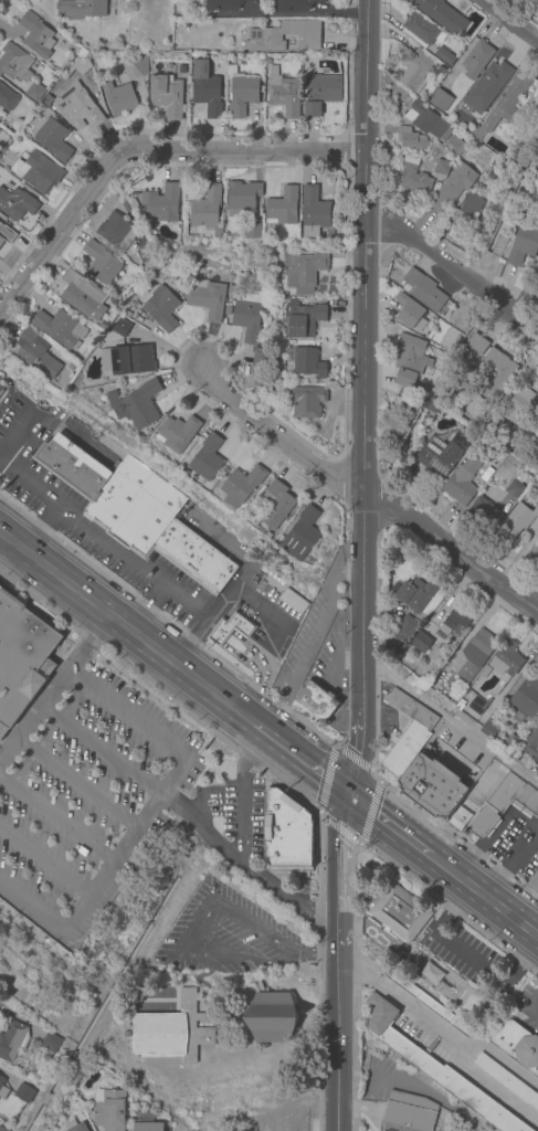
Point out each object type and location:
building: (221, 4)
building: (293, 4)
building: (80, 8)
building: (441, 14)
road: (307, 17)
road: (500, 30)
building: (420, 31)
building: (36, 35)
building: (264, 38)
building: (444, 56)
building: (477, 59)
building: (14, 63)
building: (134, 66)
building: (98, 68)
building: (414, 68)
building: (205, 88)
building: (486, 88)
building: (34, 91)
building: (241, 92)
building: (283, 93)
building: (320, 93)
building: (166, 95)
building: (118, 97)
building: (7, 98)
building: (48, 101)
building: (440, 101)
building: (504, 104)
building: (78, 107)
building: (428, 120)
building: (2, 138)
building: (410, 138)
building: (53, 139)
building: (510, 139)
building: (456, 146)
road: (144, 151)
building: (441, 169)
building: (38, 171)
building: (413, 175)
building: (490, 176)
building: (453, 187)
building: (242, 197)
building: (17, 203)
building: (162, 203)
building: (283, 208)
building: (208, 209)
building: (314, 212)
building: (467, 212)
building: (253, 230)
building: (116, 232)
building: (7, 233)
building: (524, 243)
building: (145, 254)
building: (101, 262)
building: (303, 271)
road: (450, 273)
building: (169, 278)
building: (424, 290)
building: (81, 293)
building: (207, 298)
building: (161, 307)
building: (409, 313)
building: (126, 314)
building: (247, 316)
building: (305, 319)
building: (60, 327)
building: (119, 328)
building: (472, 349)
building: (36, 353)
road: (362, 359)
building: (128, 360)
building: (259, 360)
building: (306, 361)
building: (410, 361)
building: (71, 367)
building: (0, 390)
road: (8, 390)
building: (486, 397)
building: (306, 401)
building: (423, 403)
building: (137, 404)
building: (433, 405)
building: (520, 406)
road: (61, 424)
road: (15, 430)
building: (177, 433)
road: (279, 436)
building: (441, 453)
building: (205, 458)
building: (502, 484)
building: (242, 485)
building: (460, 487)
building: (514, 489)
building: (276, 504)
building: (136, 511)
building: (484, 511)
parking lot: (85, 519)
building: (515, 524)
road: (41, 528)
building: (302, 535)
road: (98, 536)
road: (217, 538)
building: (537, 557)
road: (450, 563)
road: (339, 574)
building: (414, 593)
building: (293, 601)
road: (146, 607)
road: (210, 612)
road: (270, 612)
road: (113, 617)
parking lot: (266, 619)
building: (454, 623)
building: (230, 628)
parking lot: (309, 628)
road: (351, 631)
building: (401, 634)
road: (313, 637)
road: (242, 640)
building: (421, 643)
road: (334, 654)
building: (476, 654)
road: (234, 655)
building: (21, 658)
parking lot: (330, 658)
building: (506, 659)
road: (263, 662)
road: (257, 683)
road: (52, 685)
road: (340, 693)
building: (525, 698)
road: (245, 700)
building: (315, 702)
road: (282, 705)
building: (478, 705)
road: (232, 706)
road: (126, 711)
road: (245, 717)
road: (450, 721)
road: (259, 727)
building: (487, 731)
building: (408, 732)
building: (507, 742)
building: (531, 747)
road: (101, 749)
parking lot: (455, 753)
road: (262, 758)
road: (359, 759)
road: (357, 761)
road: (306, 762)
road: (175, 773)
road: (325, 779)
road: (76, 782)
parking lot: (84, 785)
building: (432, 786)
traffic signals: (349, 796)
building: (504, 804)
road: (200, 808)
road: (371, 813)
building: (284, 815)
parking lot: (231, 817)
road: (57, 820)
road: (242, 820)
building: (458, 820)
road: (390, 826)
road: (338, 829)
parking lot: (513, 845)
building: (287, 850)
road: (46, 862)
road: (115, 862)
road: (243, 865)
road: (337, 874)
building: (534, 882)
road: (484, 898)
road: (35, 906)
building: (400, 912)
parking lot: (226, 937)
road: (189, 941)
road: (316, 952)
parking lot: (461, 954)
road: (467, 958)
building: (426, 973)
building: (496, 997)
building: (429, 1004)
parking lot: (527, 1011)
building: (272, 1018)
building: (172, 1032)
building: (12, 1040)
road: (336, 1042)
building: (50, 1043)
building: (517, 1045)
building: (435, 1068)
building: (507, 1080)
building: (3, 1089)
building: (23, 1092)
building: (109, 1109)
building: (409, 1112)
building: (146, 1122)
building: (75, 1125)
building: (2, 1129)

